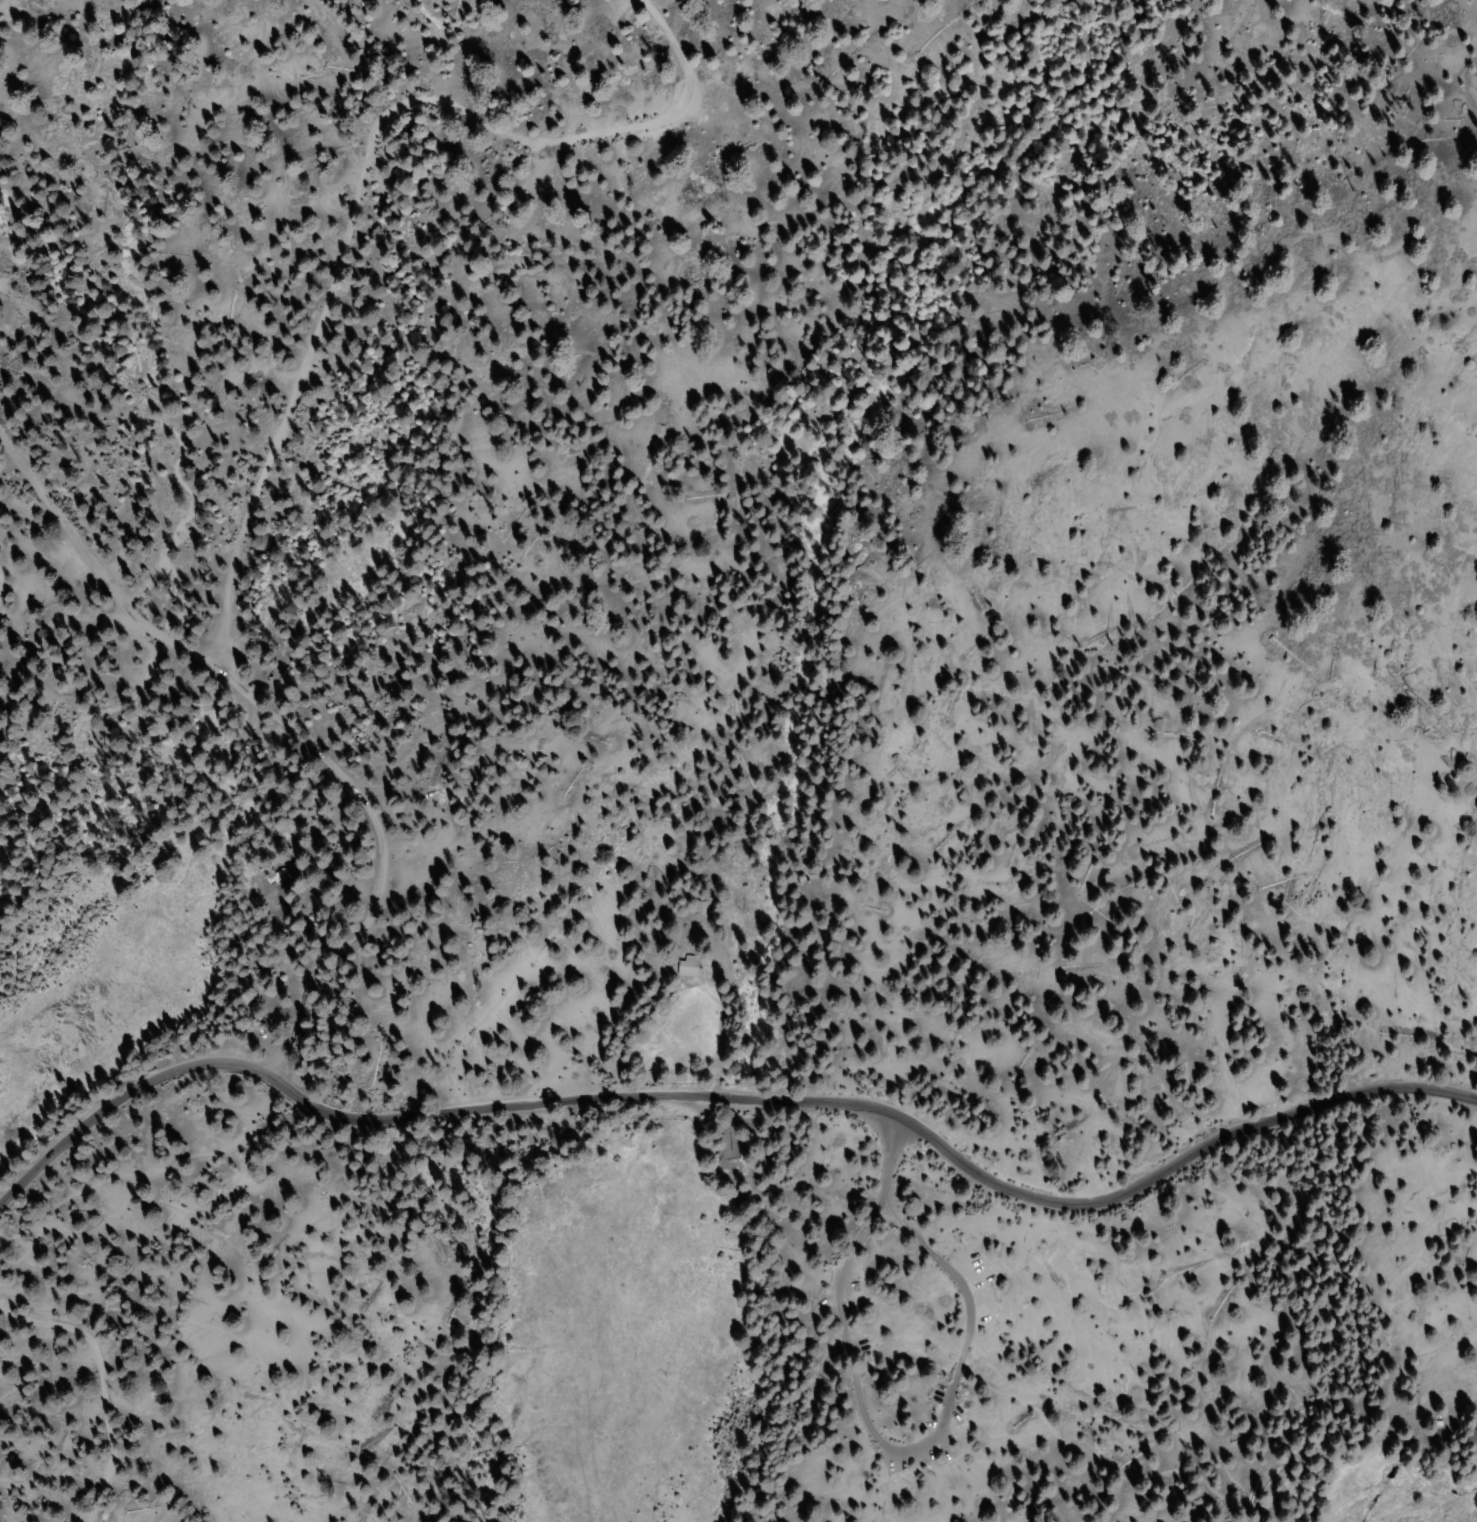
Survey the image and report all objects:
road: (283, 414)
road: (88, 564)
road: (733, 1096)
road: (893, 1136)
building: (876, 1319)
parking lot: (958, 1329)
road: (120, 1340)
road: (962, 1362)
road: (914, 1452)

